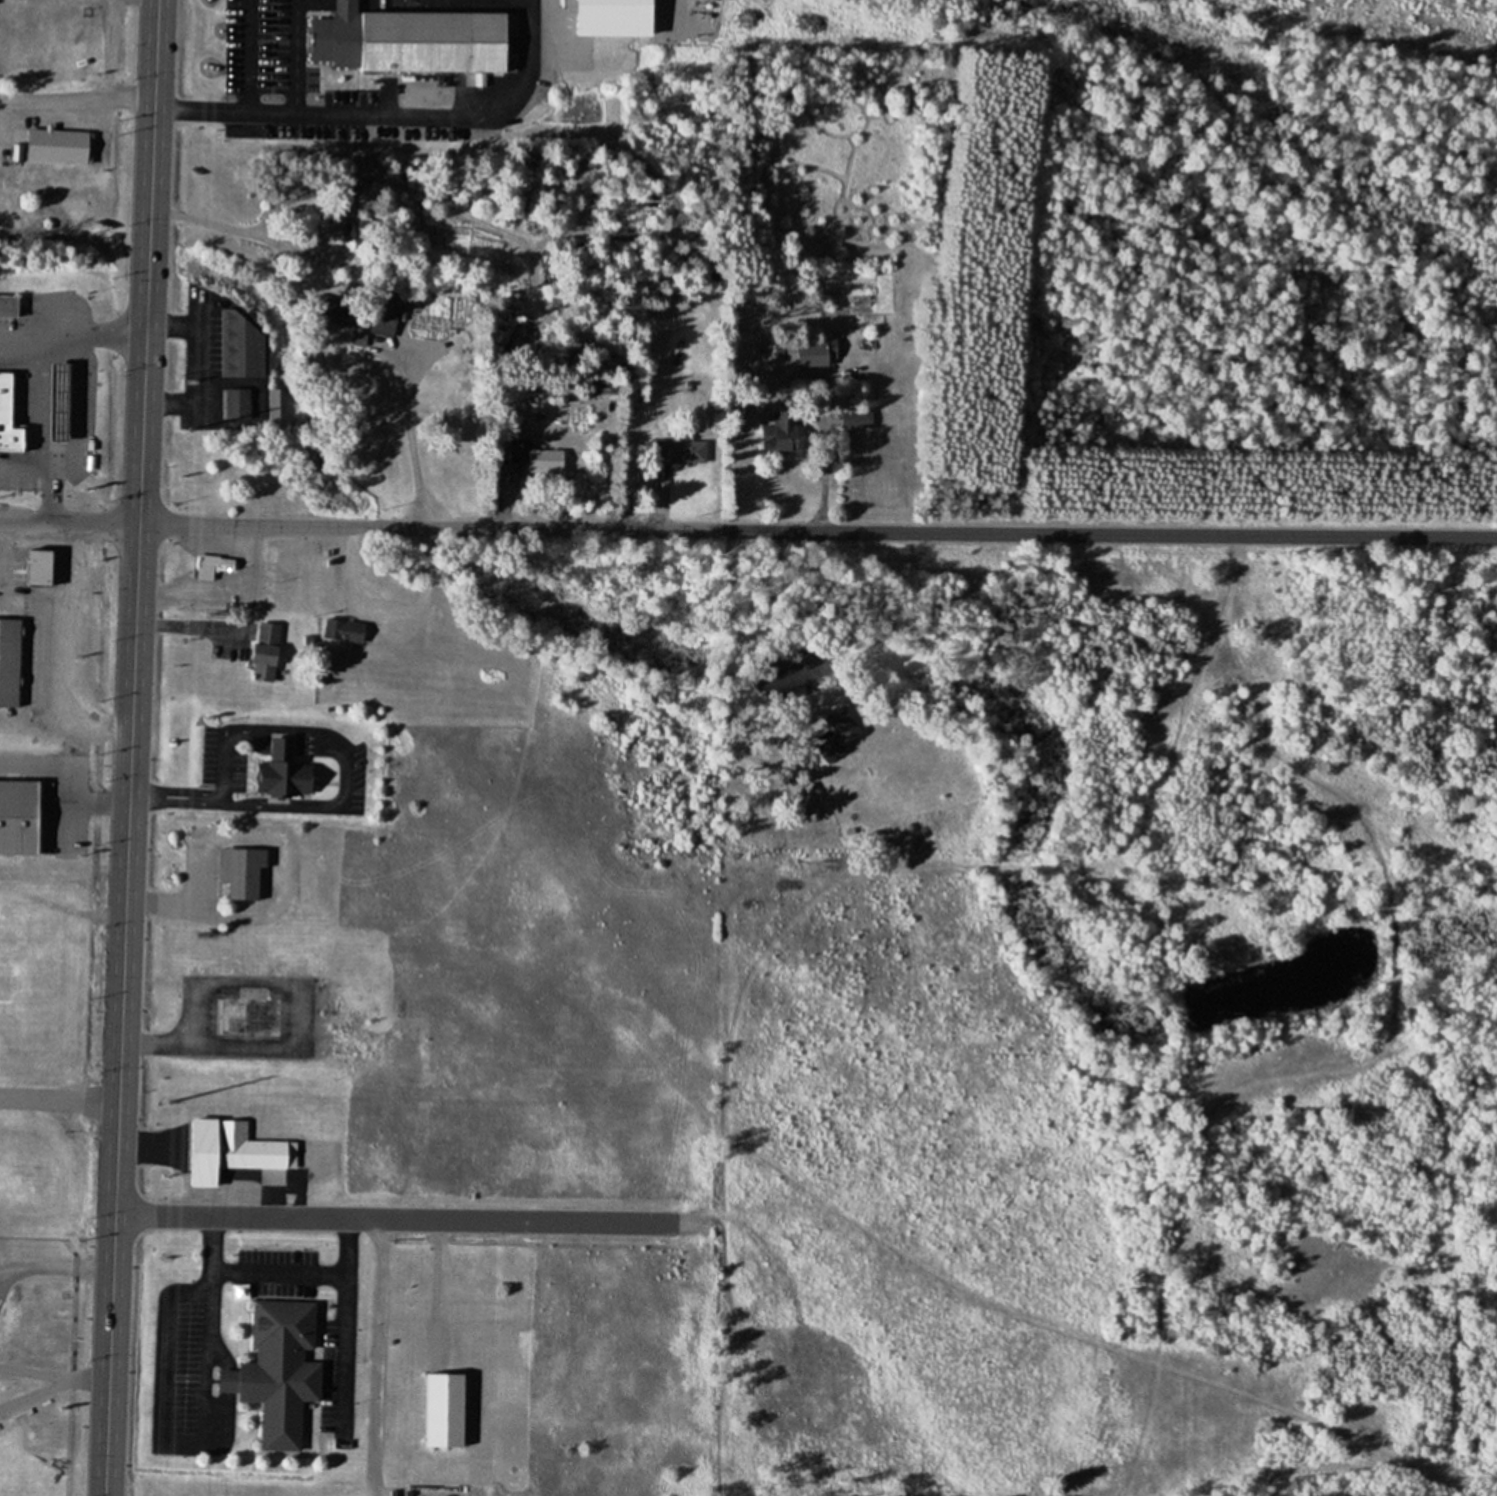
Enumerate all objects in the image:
building: (391, 41)
road: (76, 101)
building: (56, 147)
building: (342, 228)
building: (8, 306)
building: (384, 315)
building: (244, 348)
building: (815, 352)
building: (5, 398)
building: (237, 405)
power tower: (187, 428)
building: (768, 442)
road: (413, 448)
building: (89, 450)
building: (679, 451)
building: (545, 462)
road: (748, 529)
building: (215, 563)
building: (39, 567)
road: (391, 612)
building: (343, 630)
building: (265, 651)
building: (9, 662)
building: (839, 736)
road: (132, 748)
building: (283, 770)
building: (19, 816)
building: (243, 871)
building: (251, 1016)
power tower: (167, 1100)
building: (250, 1149)
road: (392, 1219)
building: (278, 1371)
building: (444, 1410)

